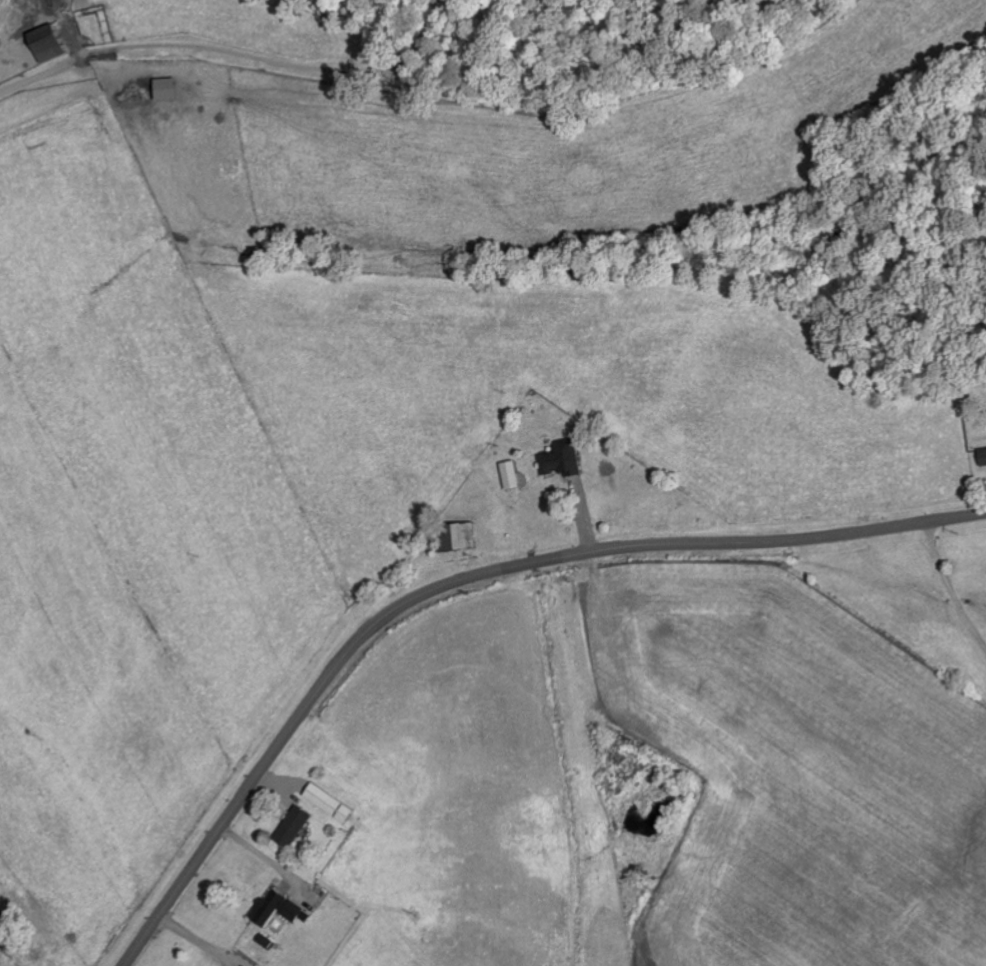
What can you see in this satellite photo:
building: (52, 42)
road: (52, 59)
building: (170, 88)
building: (566, 459)
building: (514, 475)
building: (460, 537)
road: (466, 580)
road: (952, 586)
building: (332, 804)
building: (297, 827)
road: (261, 862)
building: (282, 909)

